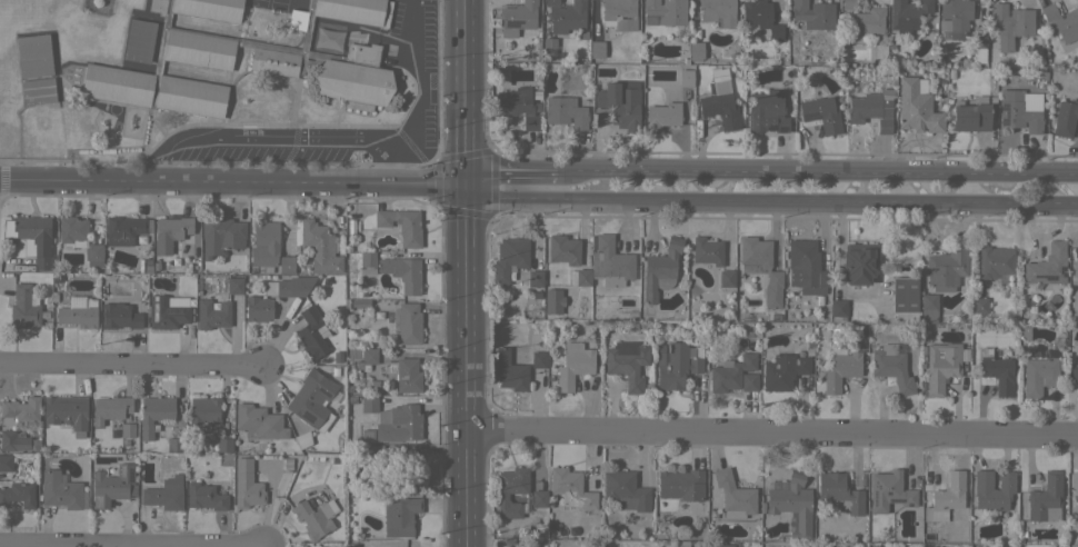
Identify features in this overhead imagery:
building: (277, 3)
building: (848, 3)
building: (663, 12)
building: (718, 12)
building: (618, 13)
building: (812, 13)
building: (907, 14)
building: (566, 16)
building: (517, 17)
building: (760, 17)
building: (954, 17)
building: (1010, 20)
building: (867, 21)
building: (1061, 21)
rooftop solar panel: (513, 22)
building: (92, 24)
rooftop solar panel: (912, 24)
rooftop solar panel: (905, 26)
road: (395, 38)
building: (137, 39)
building: (327, 39)
building: (978, 47)
building: (88, 48)
building: (596, 49)
building: (695, 50)
building: (33, 54)
building: (313, 58)
building: (686, 77)
road: (420, 82)
building: (38, 90)
building: (719, 100)
building: (620, 102)
building: (870, 105)
building: (519, 106)
building: (916, 107)
building: (565, 111)
rooftop solar panel: (711, 111)
building: (766, 111)
building: (1018, 111)
building: (821, 113)
building: (662, 115)
building: (970, 117)
building: (1065, 117)
rooftop solar panel: (751, 121)
building: (884, 125)
rooftop solar panel: (772, 127)
rooftop solar panel: (781, 129)
road: (277, 136)
road: (296, 161)
road: (817, 172)
road: (510, 178)
road: (231, 180)
road: (769, 202)
building: (401, 225)
building: (71, 228)
building: (126, 229)
building: (169, 232)
building: (220, 235)
building: (36, 238)
building: (264, 245)
building: (320, 247)
building: (562, 249)
building: (707, 250)
building: (94, 251)
building: (1076, 252)
building: (509, 257)
building: (995, 261)
building: (368, 262)
building: (610, 262)
building: (858, 262)
building: (285, 263)
building: (1047, 265)
building: (760, 267)
building: (806, 267)
building: (946, 268)
building: (660, 269)
building: (402, 272)
road: (465, 272)
building: (582, 277)
building: (56, 278)
building: (535, 278)
building: (726, 278)
building: (234, 285)
building: (288, 286)
building: (904, 294)
building: (552, 301)
rooftop solar panel: (162, 302)
building: (359, 302)
building: (978, 305)
building: (26, 307)
rooftop solar panel: (154, 307)
building: (928, 307)
building: (258, 308)
building: (838, 309)
rooftop solar panel: (172, 310)
building: (78, 311)
rooftop solar panel: (178, 311)
building: (166, 312)
building: (211, 314)
building: (120, 315)
building: (776, 317)
building: (407, 322)
building: (311, 332)
rooftop solar panel: (625, 348)
building: (369, 356)
building: (337, 357)
building: (538, 359)
road: (132, 361)
building: (627, 362)
building: (573, 365)
building: (677, 365)
building: (940, 365)
building: (891, 367)
building: (841, 369)
building: (782, 370)
building: (509, 371)
building: (997, 371)
building: (730, 372)
building: (403, 374)
building: (1038, 375)
building: (1074, 375)
building: (749, 381)
rooftop solar panel: (322, 390)
building: (312, 399)
building: (368, 404)
building: (109, 408)
building: (19, 410)
building: (204, 410)
building: (66, 412)
building: (153, 412)
rooftop solar panel: (307, 415)
building: (259, 421)
building: (398, 422)
building: (127, 429)
road: (772, 434)
building: (302, 439)
building: (12, 440)
building: (173, 445)
building: (223, 445)
building: (373, 451)
building: (6, 463)
building: (408, 470)
rooftop solar panel: (122, 471)
rooftop solar panel: (130, 475)
building: (246, 484)
building: (112, 485)
rooftop solar panel: (877, 485)
building: (683, 487)
building: (1075, 487)
building: (570, 488)
building: (992, 489)
building: (511, 490)
building: (625, 490)
building: (889, 490)
building: (61, 491)
building: (164, 493)
building: (839, 493)
rooftop solar panel: (887, 493)
building: (17, 494)
building: (733, 495)
building: (204, 496)
building: (946, 497)
building: (1044, 497)
building: (538, 498)
rooftop solar panel: (874, 498)
rooftop solar panel: (895, 498)
rooftop solar panel: (93, 501)
building: (790, 504)
rooftop solar panel: (911, 504)
building: (400, 515)
building: (315, 517)
road: (134, 543)
building: (720, 545)
building: (1006, 546)

